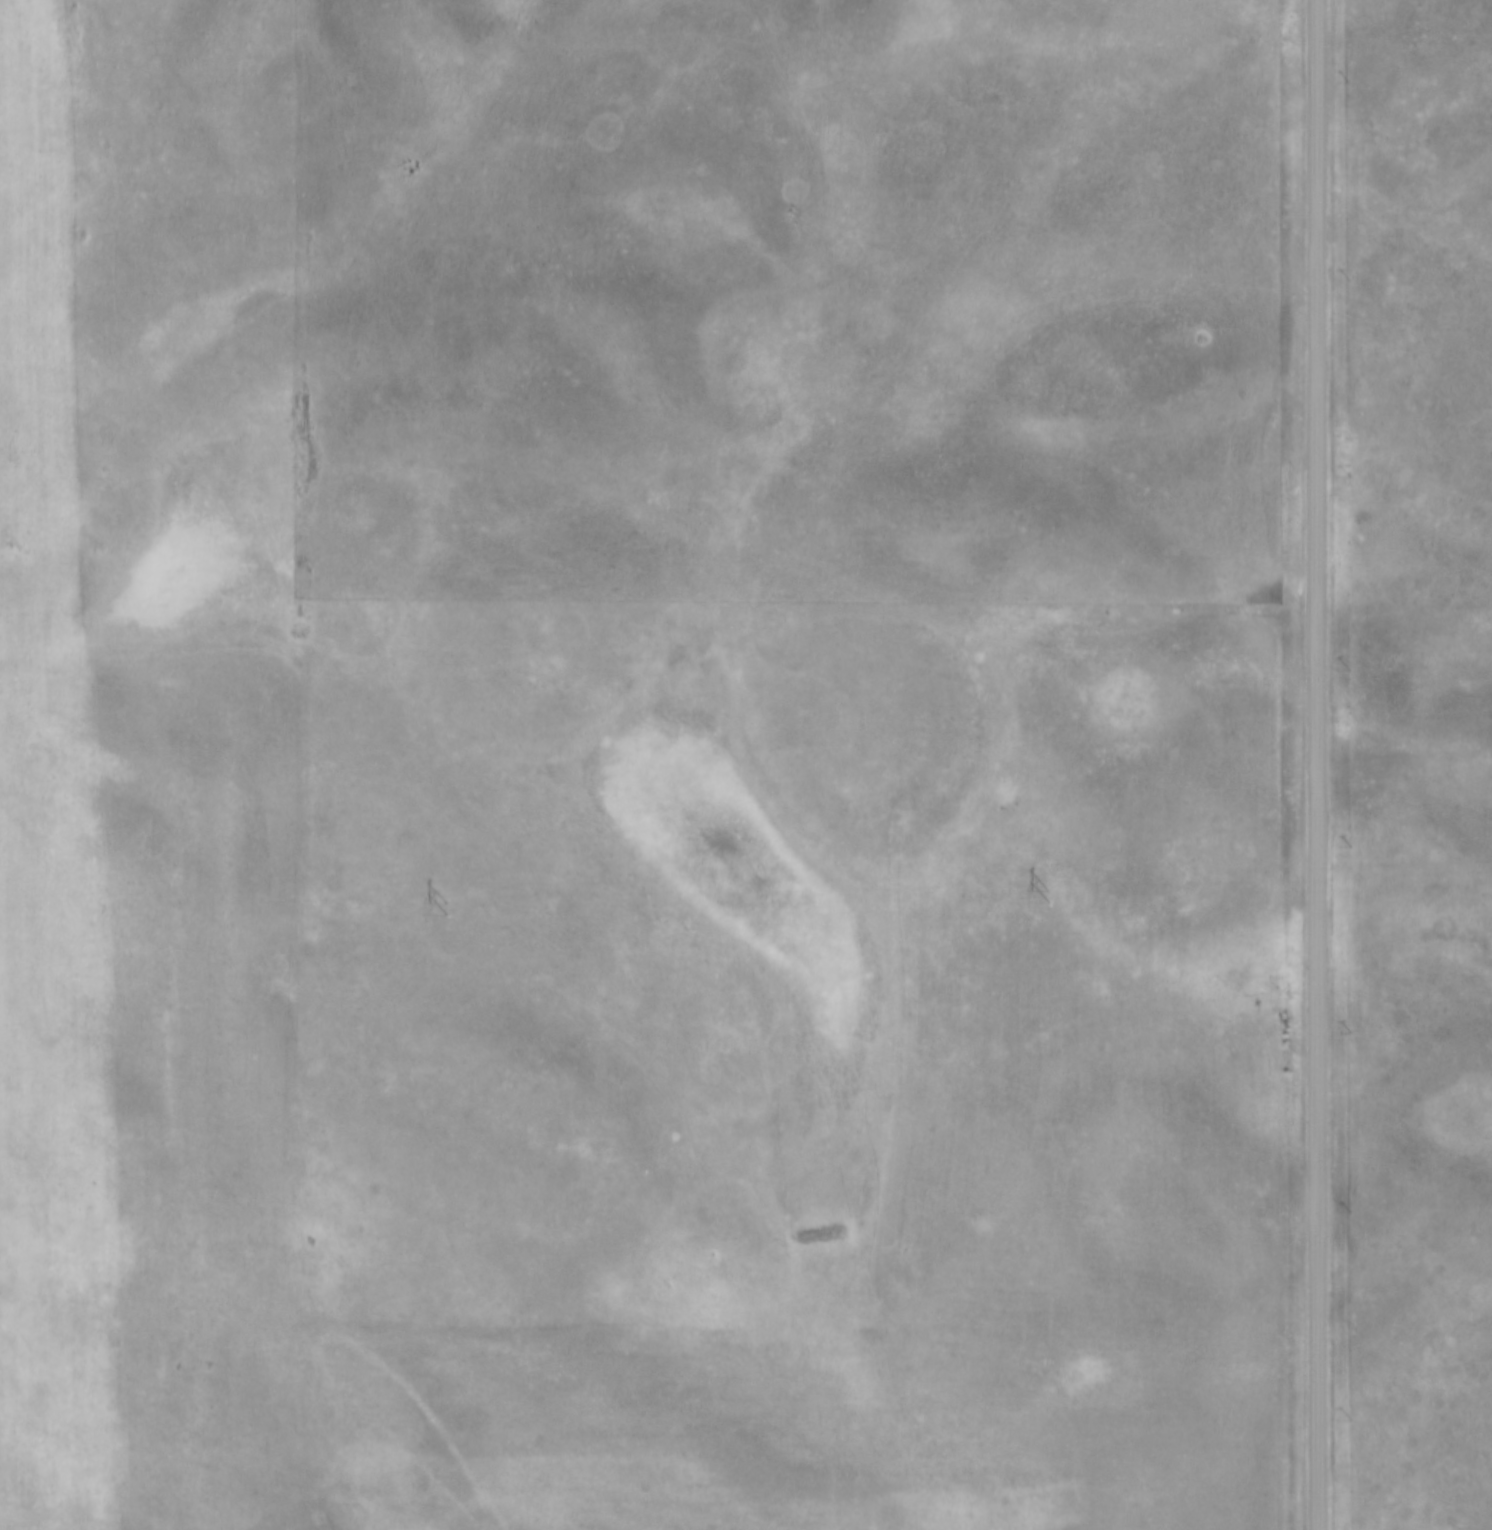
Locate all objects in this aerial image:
road: (1318, 765)

